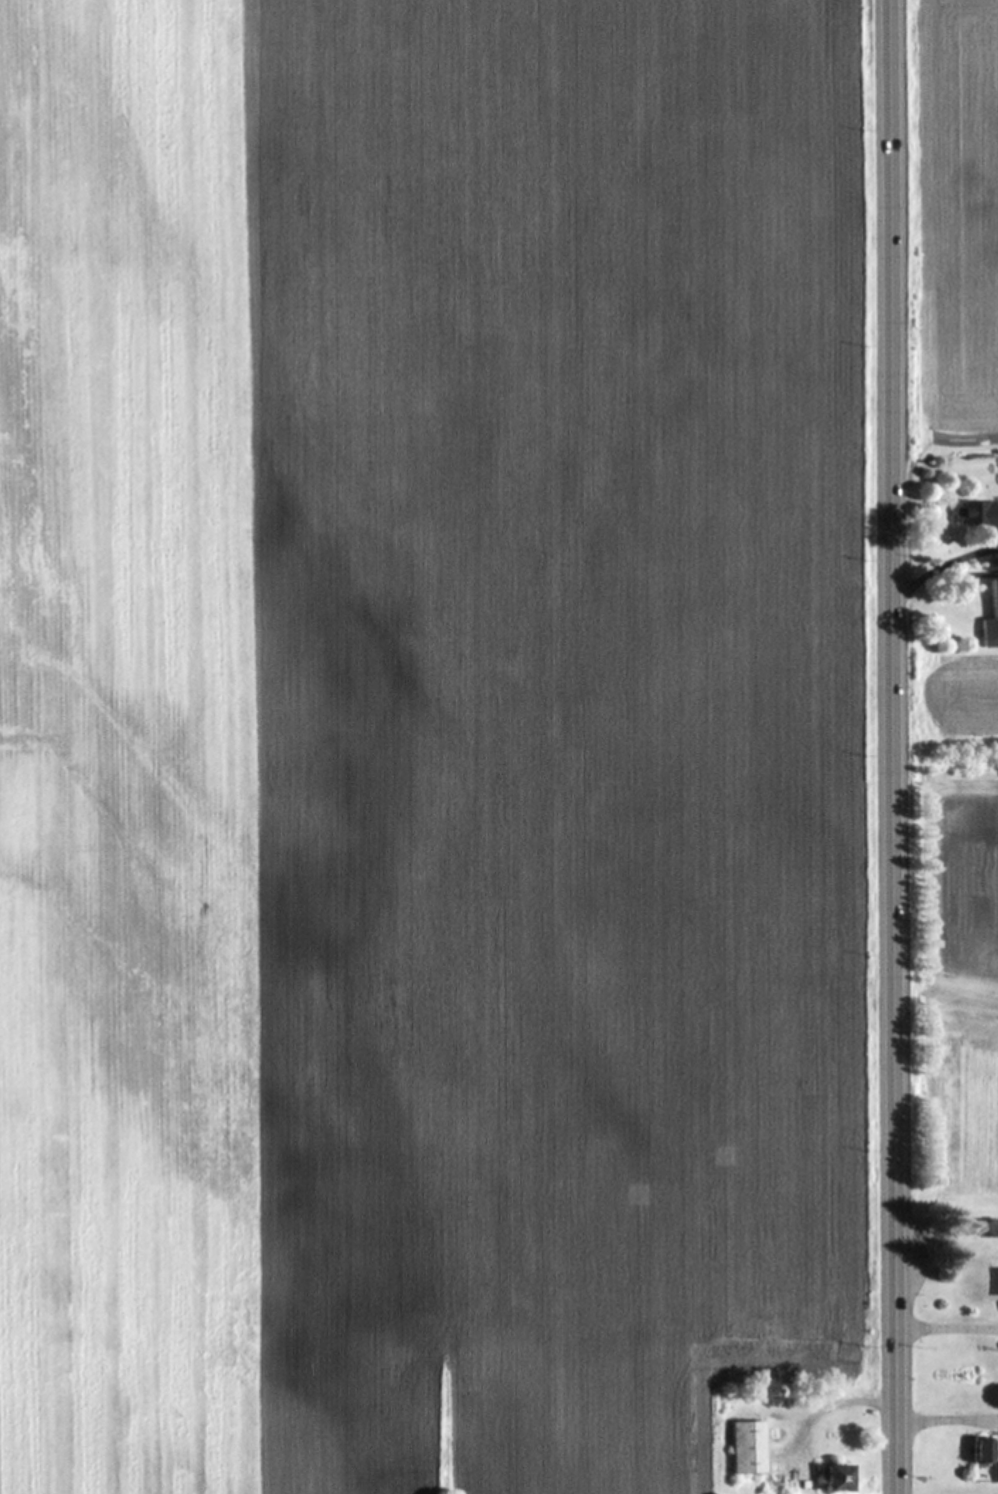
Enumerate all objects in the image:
building: (984, 512)
building: (992, 619)
road: (895, 746)
crop: (954, 1116)
building: (992, 1280)
road: (948, 1419)
building: (747, 1447)
building: (983, 1450)
building: (836, 1478)

